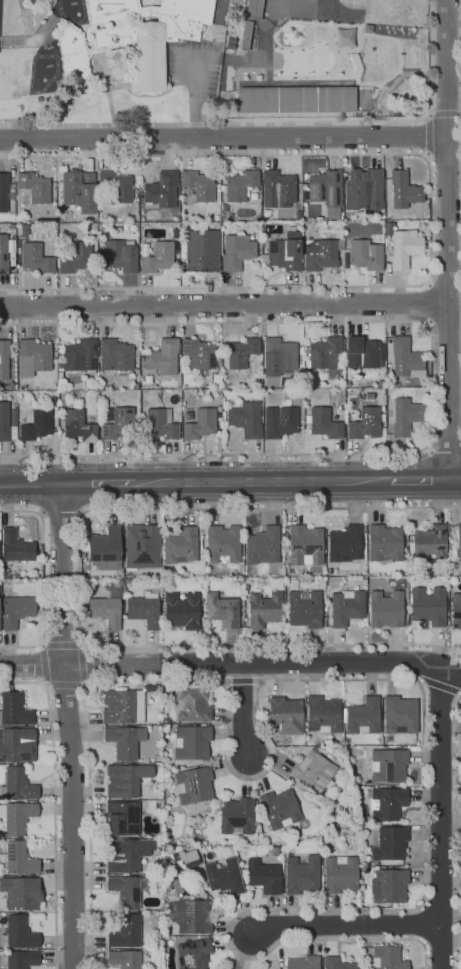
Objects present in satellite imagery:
building: (252, 6)
building: (133, 36)
road: (32, 38)
parking lot: (192, 66)
road: (193, 97)
building: (295, 99)
road: (445, 114)
road: (273, 123)
road: (426, 135)
road: (221, 137)
road: (444, 158)
building: (239, 185)
building: (116, 186)
building: (34, 187)
building: (196, 187)
building: (364, 187)
building: (75, 188)
building: (276, 189)
building: (402, 190)
building: (325, 191)
building: (5, 192)
building: (158, 192)
building: (298, 195)
building: (223, 207)
building: (213, 209)
building: (229, 216)
building: (267, 216)
building: (66, 217)
road: (430, 218)
building: (11, 226)
building: (183, 226)
building: (387, 228)
building: (24, 229)
building: (372, 235)
road: (445, 239)
building: (12, 240)
building: (403, 248)
building: (200, 249)
building: (236, 252)
building: (283, 252)
building: (3, 254)
building: (320, 254)
building: (119, 255)
building: (364, 255)
building: (37, 257)
building: (159, 257)
building: (75, 258)
road: (443, 283)
road: (427, 302)
road: (223, 305)
road: (445, 333)
building: (60, 351)
building: (240, 352)
building: (323, 352)
building: (361, 353)
building: (199, 354)
building: (280, 354)
building: (116, 356)
building: (33, 357)
building: (78, 357)
building: (162, 357)
building: (405, 357)
building: (4, 359)
building: (54, 360)
building: (215, 381)
building: (104, 383)
road: (431, 387)
building: (111, 392)
building: (51, 397)
building: (299, 407)
building: (381, 409)
building: (219, 411)
building: (222, 416)
building: (405, 416)
building: (245, 419)
building: (279, 420)
building: (7, 422)
building: (118, 423)
building: (323, 423)
building: (35, 424)
building: (201, 424)
building: (363, 424)
building: (78, 425)
building: (160, 425)
road: (443, 454)
road: (419, 479)
road: (454, 479)
road: (262, 480)
road: (97, 482)
road: (30, 483)
road: (310, 509)
road: (59, 514)
road: (77, 539)
building: (458, 541)
building: (222, 542)
building: (429, 542)
building: (383, 543)
building: (344, 544)
building: (180, 545)
building: (262, 545)
building: (304, 545)
building: (15, 546)
building: (141, 546)
building: (104, 548)
road: (43, 579)
building: (428, 605)
building: (303, 607)
building: (107, 608)
building: (345, 608)
building: (385, 608)
building: (221, 609)
building: (263, 609)
building: (16, 610)
building: (143, 610)
building: (181, 610)
building: (455, 610)
road: (62, 644)
road: (272, 644)
road: (311, 662)
road: (41, 664)
road: (79, 664)
road: (84, 665)
road: (242, 680)
road: (440, 686)
road: (227, 695)
building: (191, 703)
building: (122, 706)
building: (14, 709)
road: (242, 713)
building: (323, 714)
building: (399, 714)
building: (284, 715)
building: (362, 716)
road: (68, 725)
building: (124, 741)
building: (191, 741)
building: (17, 744)
building: (388, 765)
building: (312, 771)
building: (125, 780)
building: (17, 784)
building: (193, 784)
building: (386, 803)
road: (53, 804)
building: (279, 808)
building: (236, 815)
building: (16, 816)
building: (122, 818)
road: (440, 818)
road: (456, 832)
building: (389, 843)
building: (127, 854)
building: (184, 857)
building: (17, 859)
building: (301, 874)
building: (339, 874)
building: (223, 876)
building: (263, 876)
building: (388, 884)
building: (126, 890)
building: (21, 893)
road: (276, 910)
building: (191, 915)
road: (344, 925)
building: (126, 931)
building: (20, 932)
building: (193, 953)
building: (387, 957)
building: (19, 959)
building: (124, 959)
building: (302, 962)
building: (337, 963)

